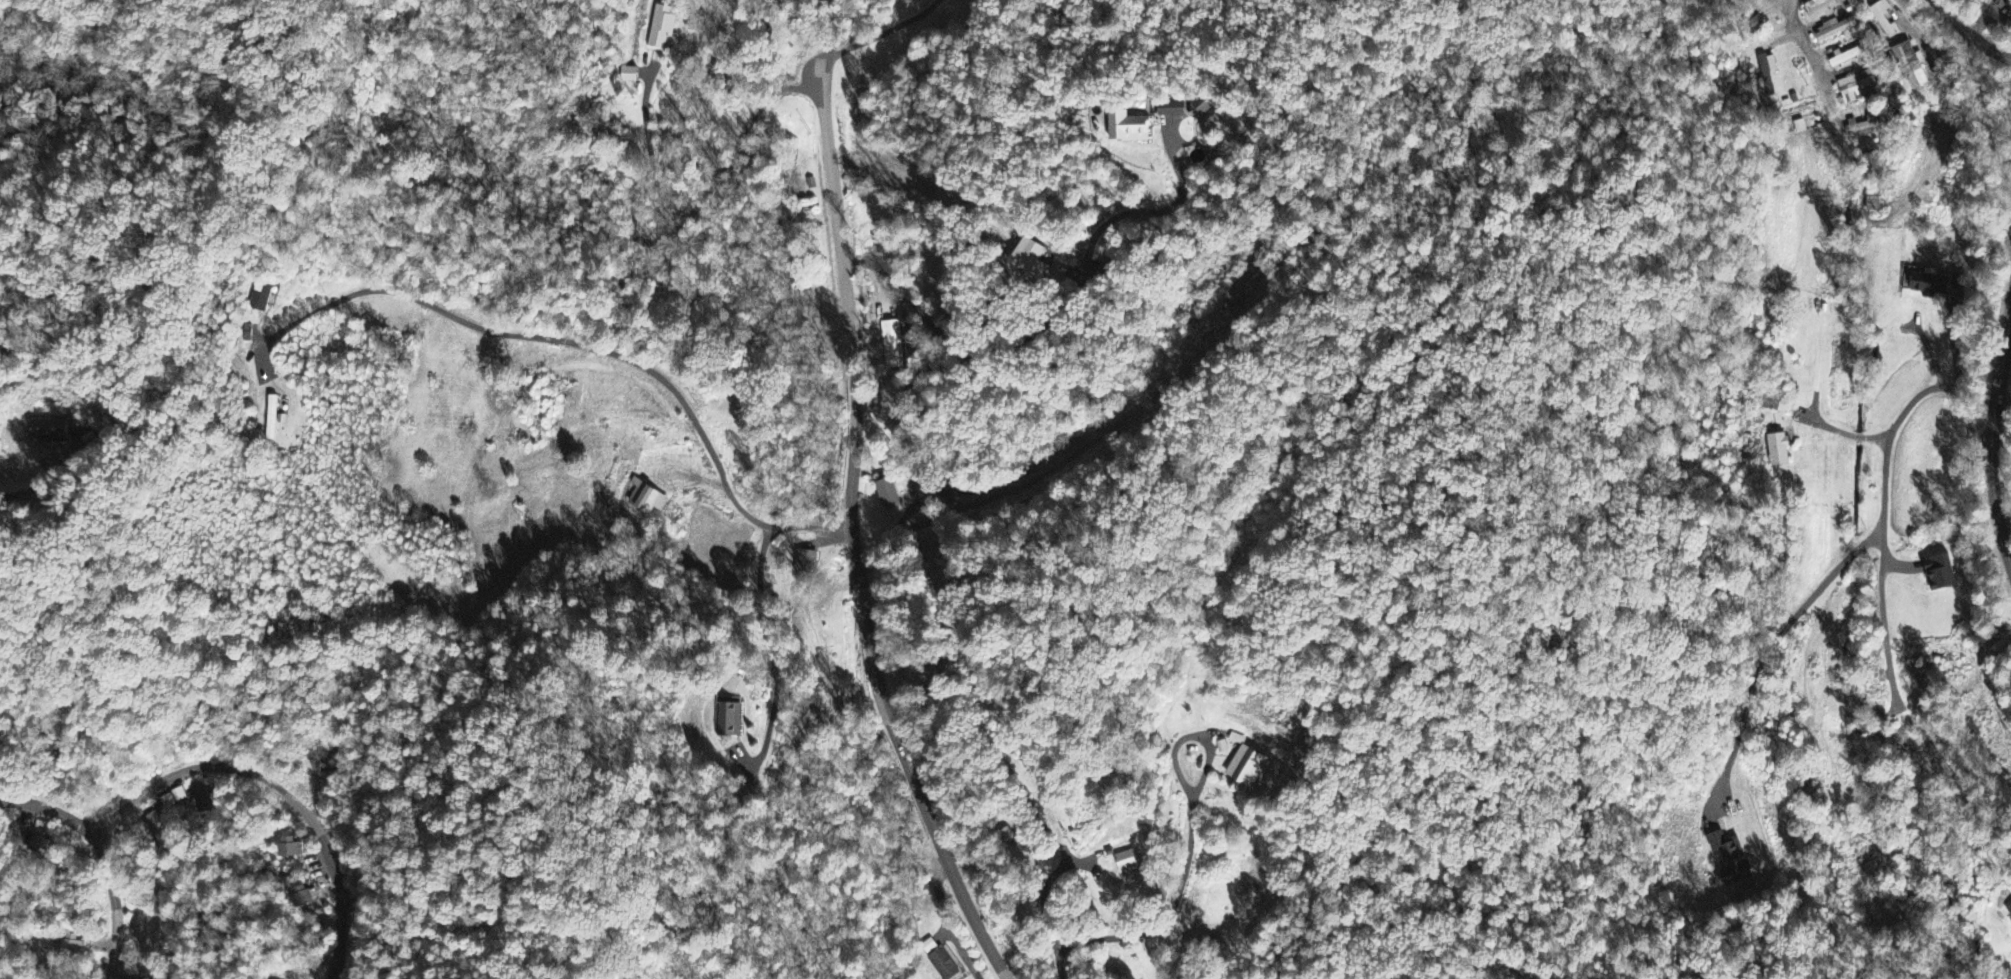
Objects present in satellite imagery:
road: (1787, 3)
building: (1819, 9)
building: (1883, 20)
building: (661, 27)
building: (1835, 30)
road: (1921, 32)
road: (1971, 32)
road: (831, 33)
road: (1809, 56)
building: (1847, 57)
building: (1767, 67)
building: (1916, 67)
building: (628, 76)
building: (1855, 87)
building: (1201, 105)
building: (1170, 109)
building: (1863, 127)
building: (1128, 128)
building: (1878, 202)
building: (1028, 257)
building: (1935, 286)
building: (259, 298)
road: (1053, 318)
road: (595, 347)
building: (894, 348)
road: (1917, 396)
building: (1767, 404)
building: (271, 419)
building: (48, 432)
road: (1994, 437)
building: (1778, 450)
building: (886, 493)
building: (646, 499)
road: (851, 536)
road: (1880, 570)
building: (1941, 574)
road: (1764, 654)
building: (729, 721)
building: (1246, 768)
road: (276, 787)
building: (203, 802)
road: (48, 809)
building: (156, 824)
building: (33, 843)
building: (291, 849)
building: (1732, 860)
building: (1128, 863)
building: (305, 898)
road: (115, 904)
building: (2009, 911)
building: (70, 946)
building: (943, 965)

